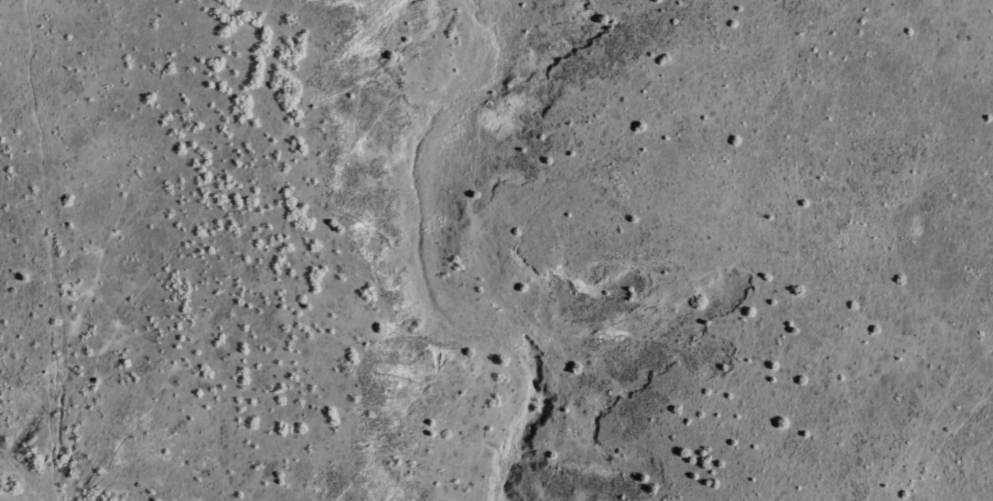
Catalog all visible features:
road: (934, 419)

